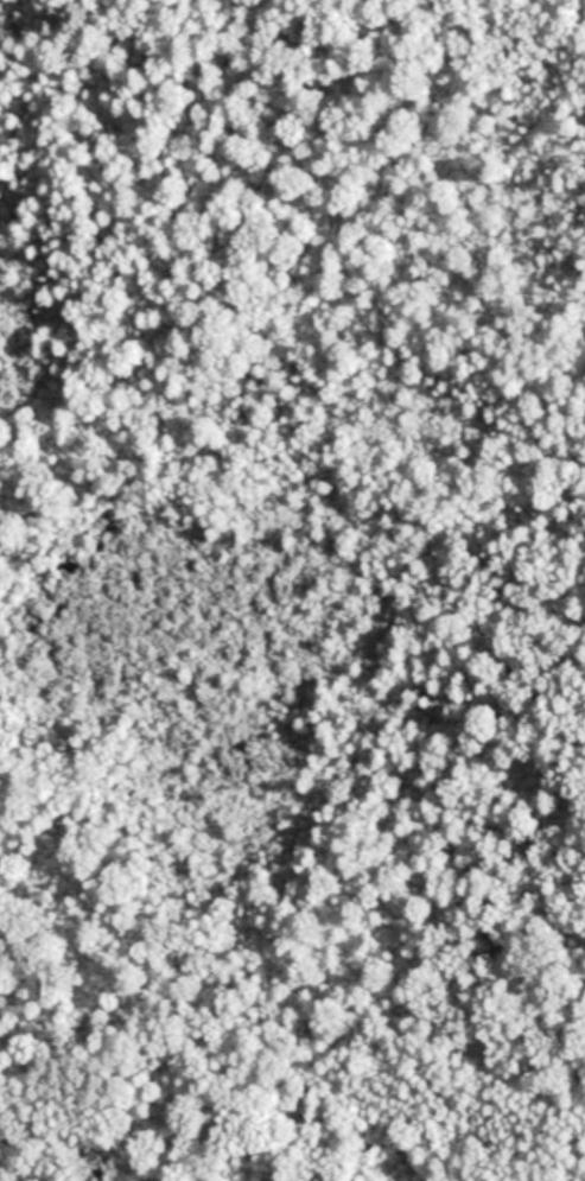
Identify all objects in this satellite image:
park: (292, 590)

